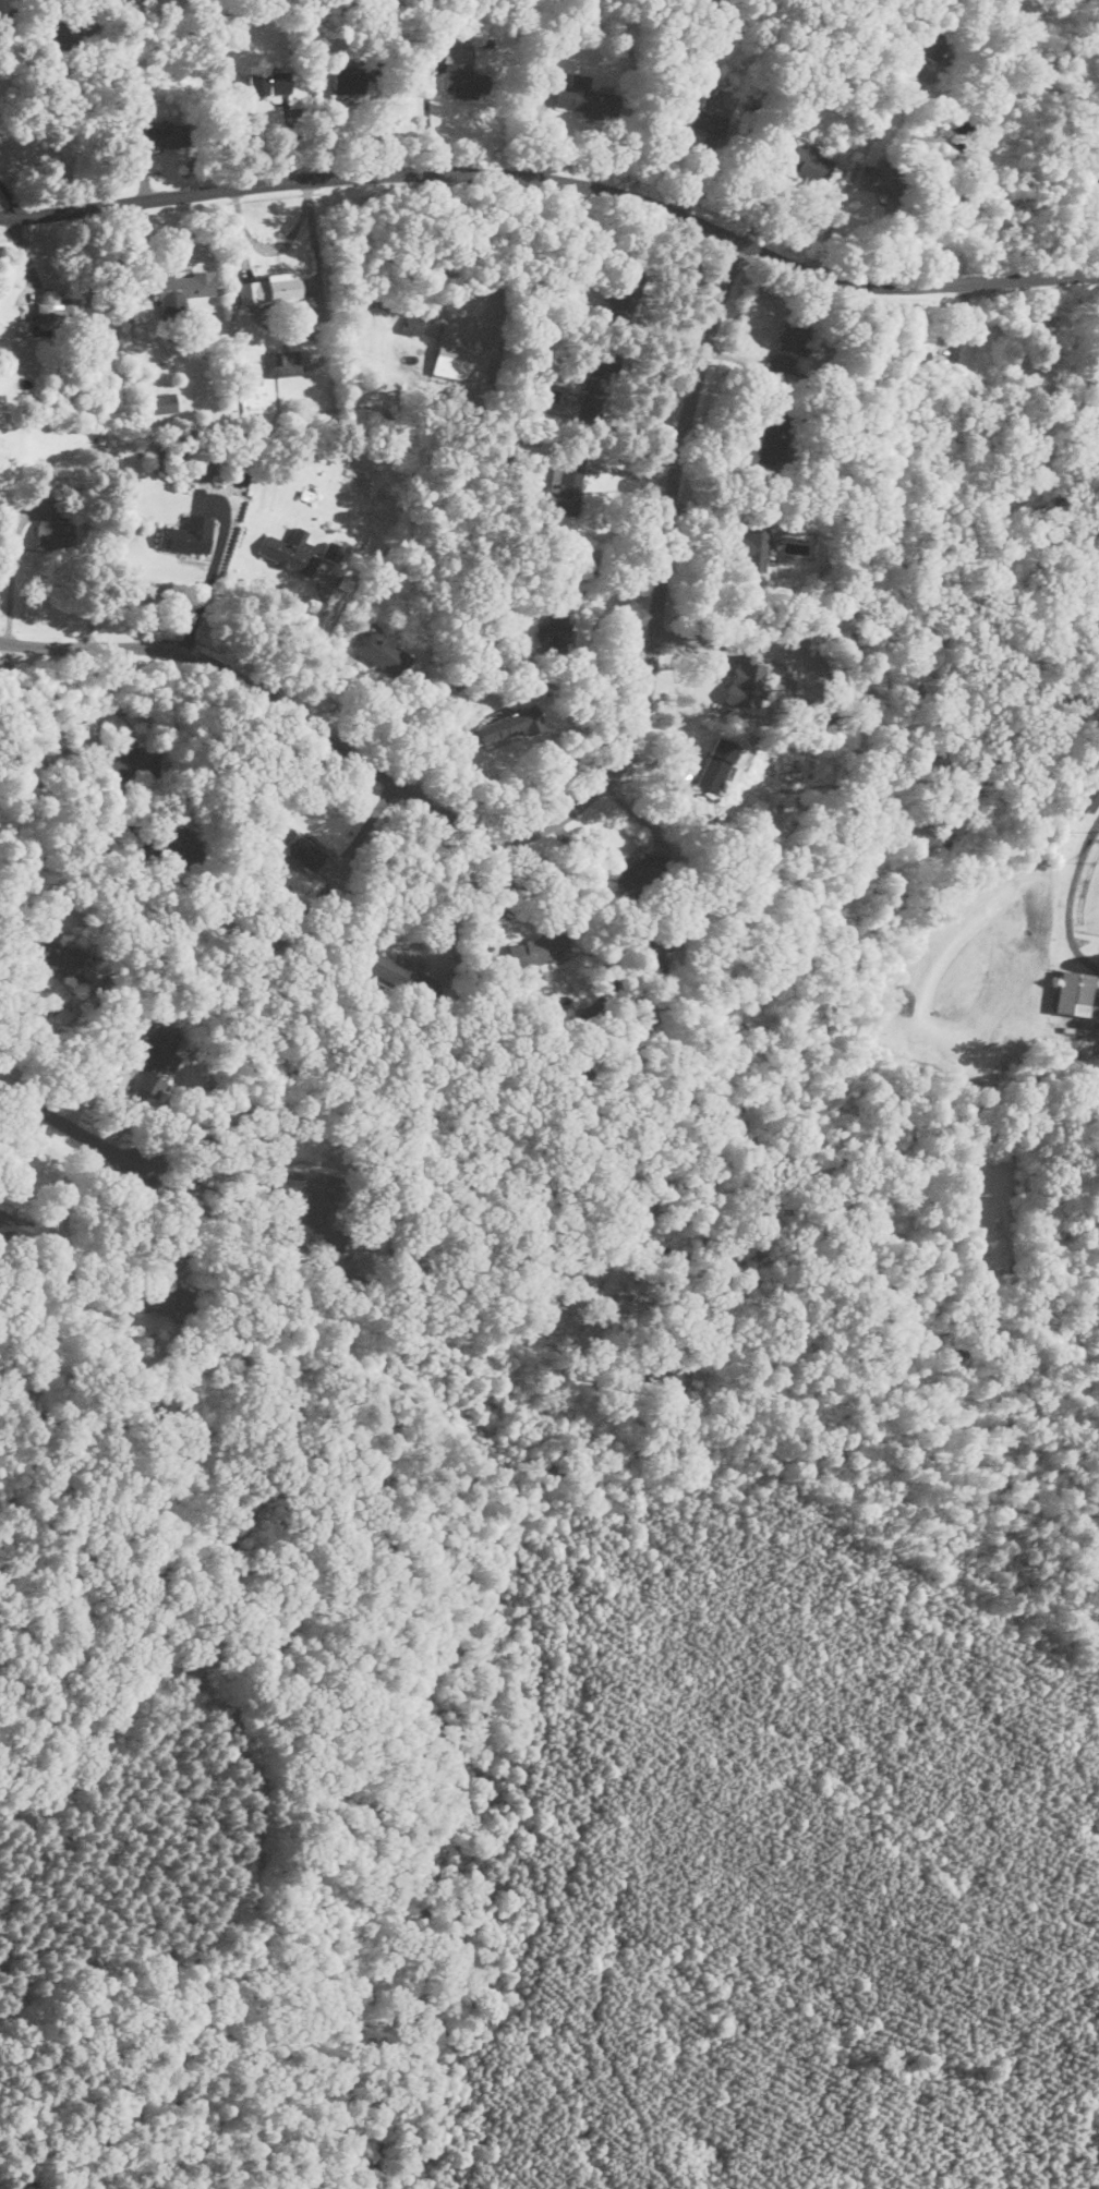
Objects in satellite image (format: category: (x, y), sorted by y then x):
building: (68, 32)
building: (927, 46)
building: (937, 62)
building: (347, 80)
building: (463, 81)
building: (268, 83)
building: (582, 97)
building: (697, 116)
road: (426, 118)
building: (162, 136)
building: (798, 157)
building: (877, 178)
road: (557, 179)
road: (841, 205)
building: (269, 287)
building: (181, 289)
building: (624, 294)
building: (58, 312)
road: (436, 317)
building: (412, 325)
building: (787, 346)
building: (949, 349)
building: (457, 355)
building: (282, 362)
building: (914, 362)
building: (596, 385)
building: (164, 401)
building: (771, 442)
building: (569, 483)
building: (52, 528)
building: (188, 534)
building: (756, 542)
building: (289, 551)
building: (333, 552)
road: (213, 569)
road: (15, 572)
building: (555, 630)
road: (304, 646)
building: (383, 652)
road: (593, 668)
building: (744, 680)
building: (508, 723)
road: (67, 726)
road: (208, 742)
building: (131, 757)
building: (717, 762)
building: (1090, 797)
road: (561, 817)
building: (182, 847)
building: (312, 852)
building: (638, 870)
road: (459, 884)
road: (496, 890)
road: (1070, 898)
building: (541, 950)
building: (648, 953)
building: (60, 957)
building: (397, 971)
building: (1073, 992)
road: (1097, 1000)
road: (56, 1029)
building: (156, 1060)
road: (73, 1123)
road: (271, 1174)
building: (315, 1205)
road: (166, 1217)
building: (14, 1224)
building: (166, 1299)

